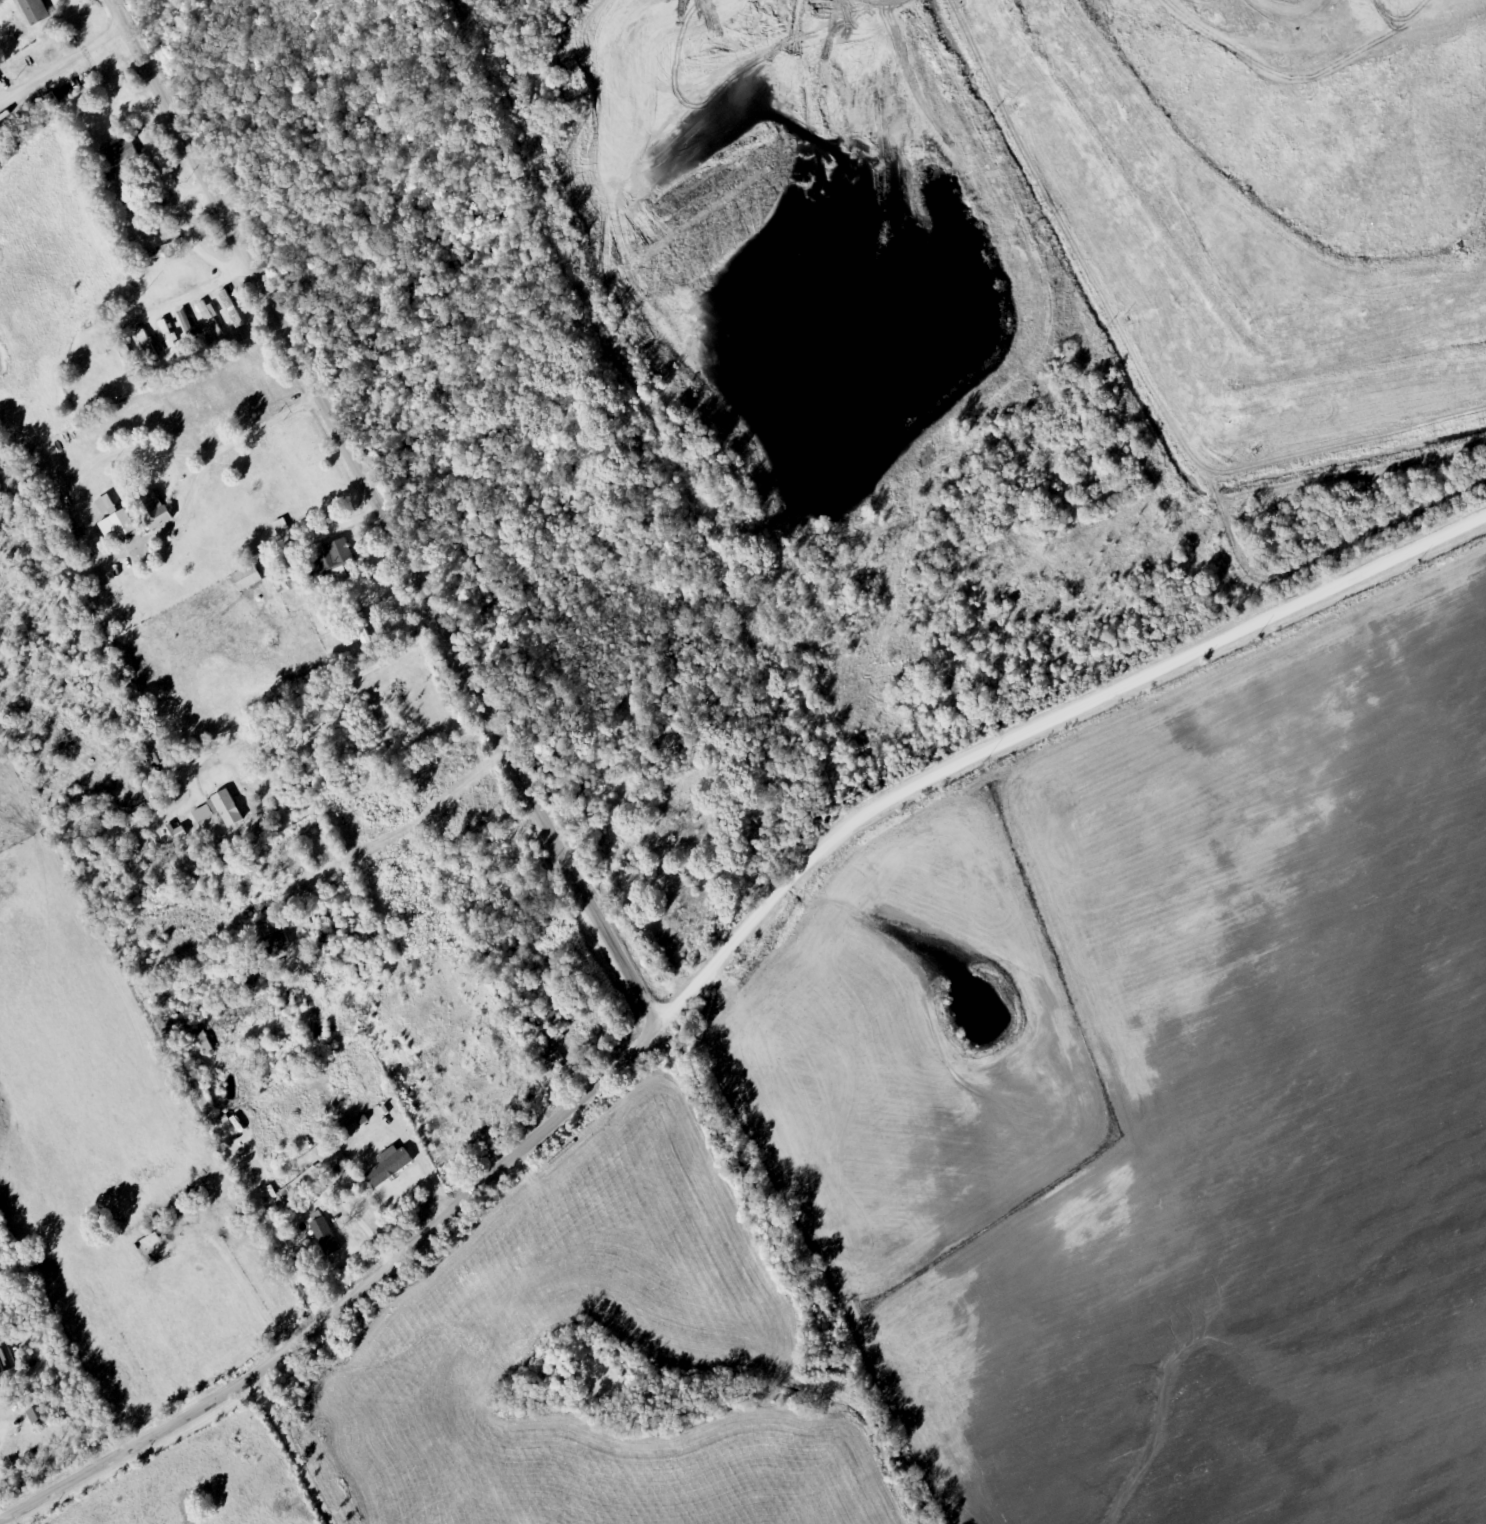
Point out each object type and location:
building: (33, 12)
building: (9, 128)
building: (119, 156)
building: (140, 194)
building: (154, 227)
building: (160, 253)
building: (231, 309)
building: (210, 319)
road: (122, 320)
building: (188, 325)
building: (167, 333)
building: (147, 347)
building: (130, 359)
building: (152, 509)
road: (379, 512)
building: (114, 521)
building: (334, 556)
building: (247, 577)
building: (299, 582)
road: (391, 701)
building: (223, 803)
building: (371, 935)
building: (274, 944)
road: (709, 964)
building: (204, 1043)
building: (390, 1166)
road: (315, 1181)
building: (302, 1185)
building: (156, 1236)
building: (326, 1237)
road: (610, 1357)
road: (183, 1482)

